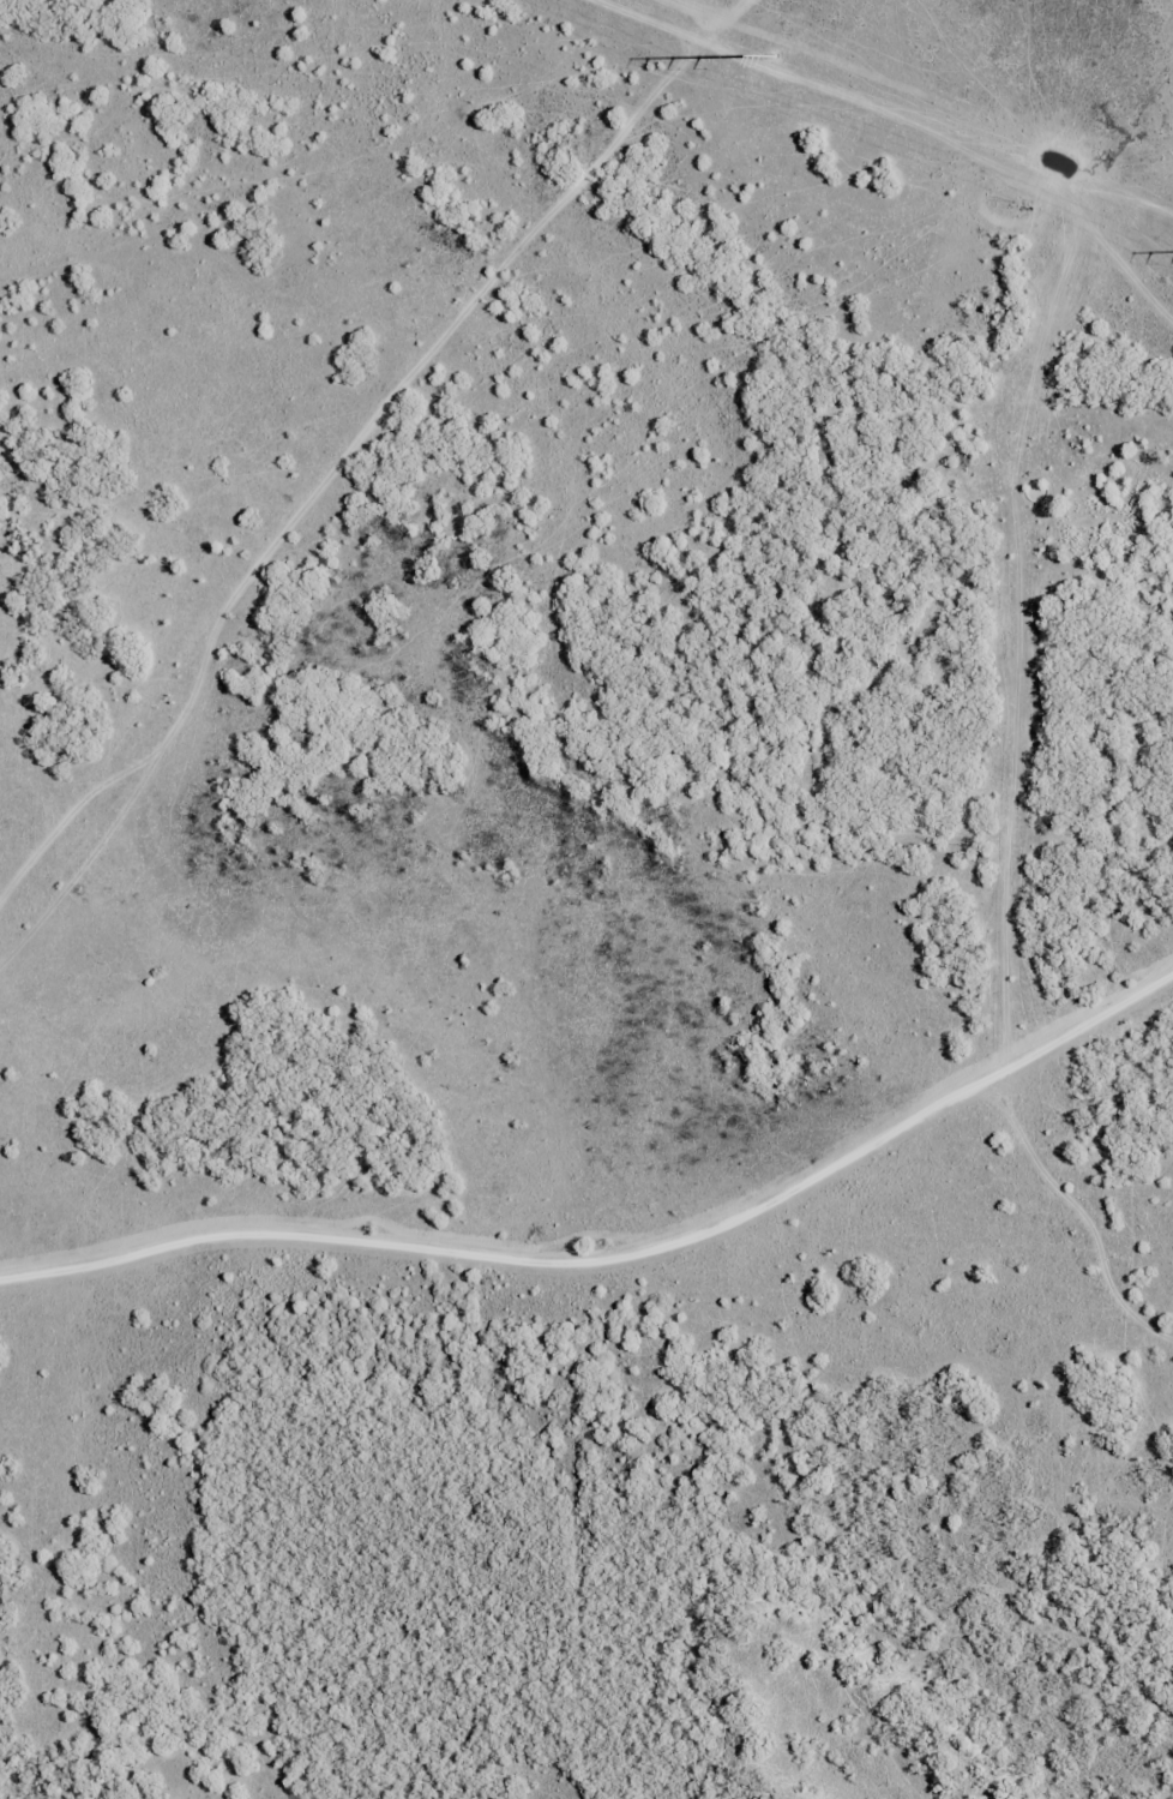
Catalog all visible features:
power tower: (774, 62)
road: (1144, 390)
road: (650, 582)
road: (613, 1211)

